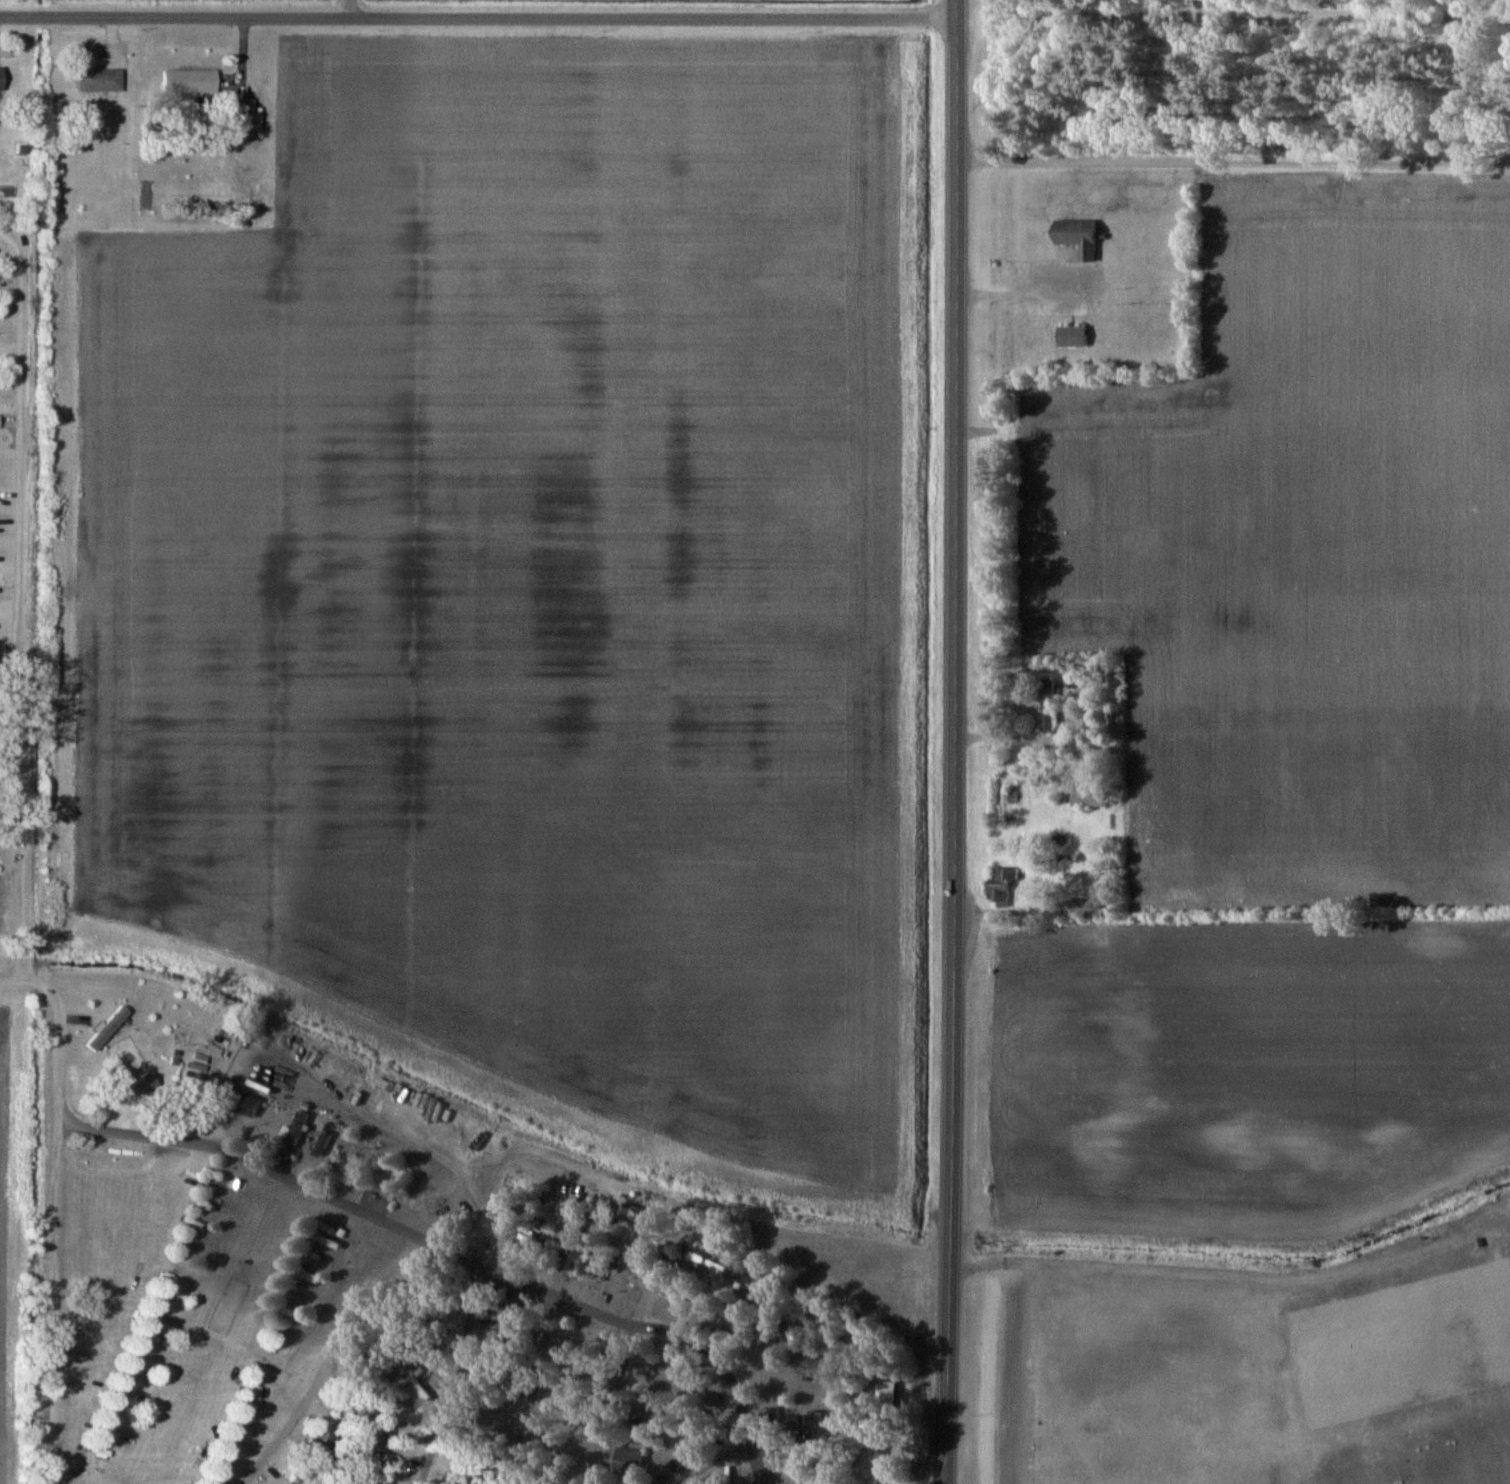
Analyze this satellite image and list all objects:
road: (352, 7)
road: (954, 9)
road: (477, 15)
road: (1232, 16)
building: (1, 78)
building: (98, 79)
building: (189, 80)
building: (1078, 236)
road: (1027, 293)
building: (1072, 335)
crop: (536, 585)
building: (1048, 702)
road: (1034, 738)
road: (952, 751)
building: (1087, 796)
building: (1001, 883)
building: (1082, 907)
road: (1231, 910)
building: (108, 1025)
building: (142, 1084)
building: (247, 1103)
building: (297, 1128)
building: (341, 1171)
road: (458, 1251)
building: (632, 1261)
building: (885, 1398)
building: (628, 1462)
building: (834, 1482)

